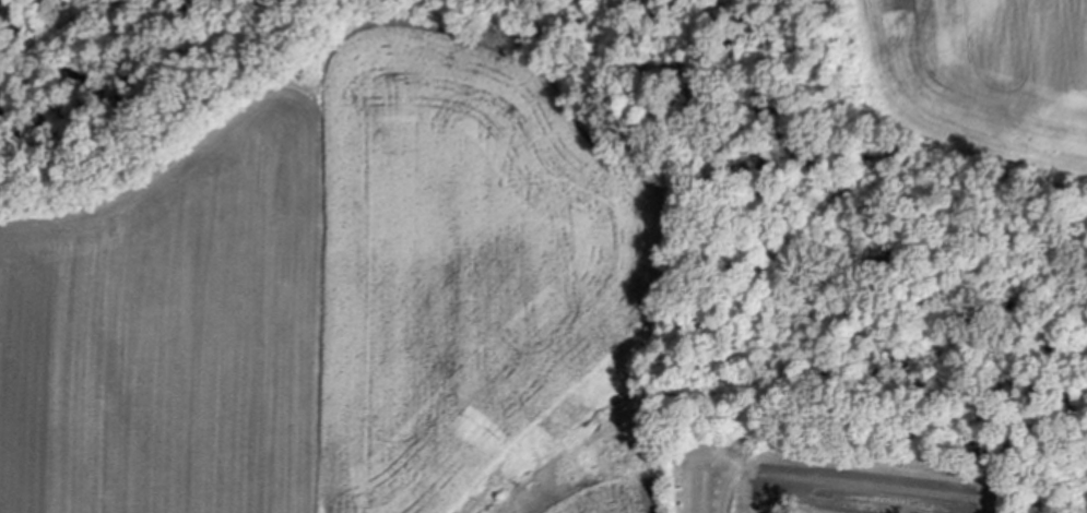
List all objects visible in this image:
building: (1017, 344)

